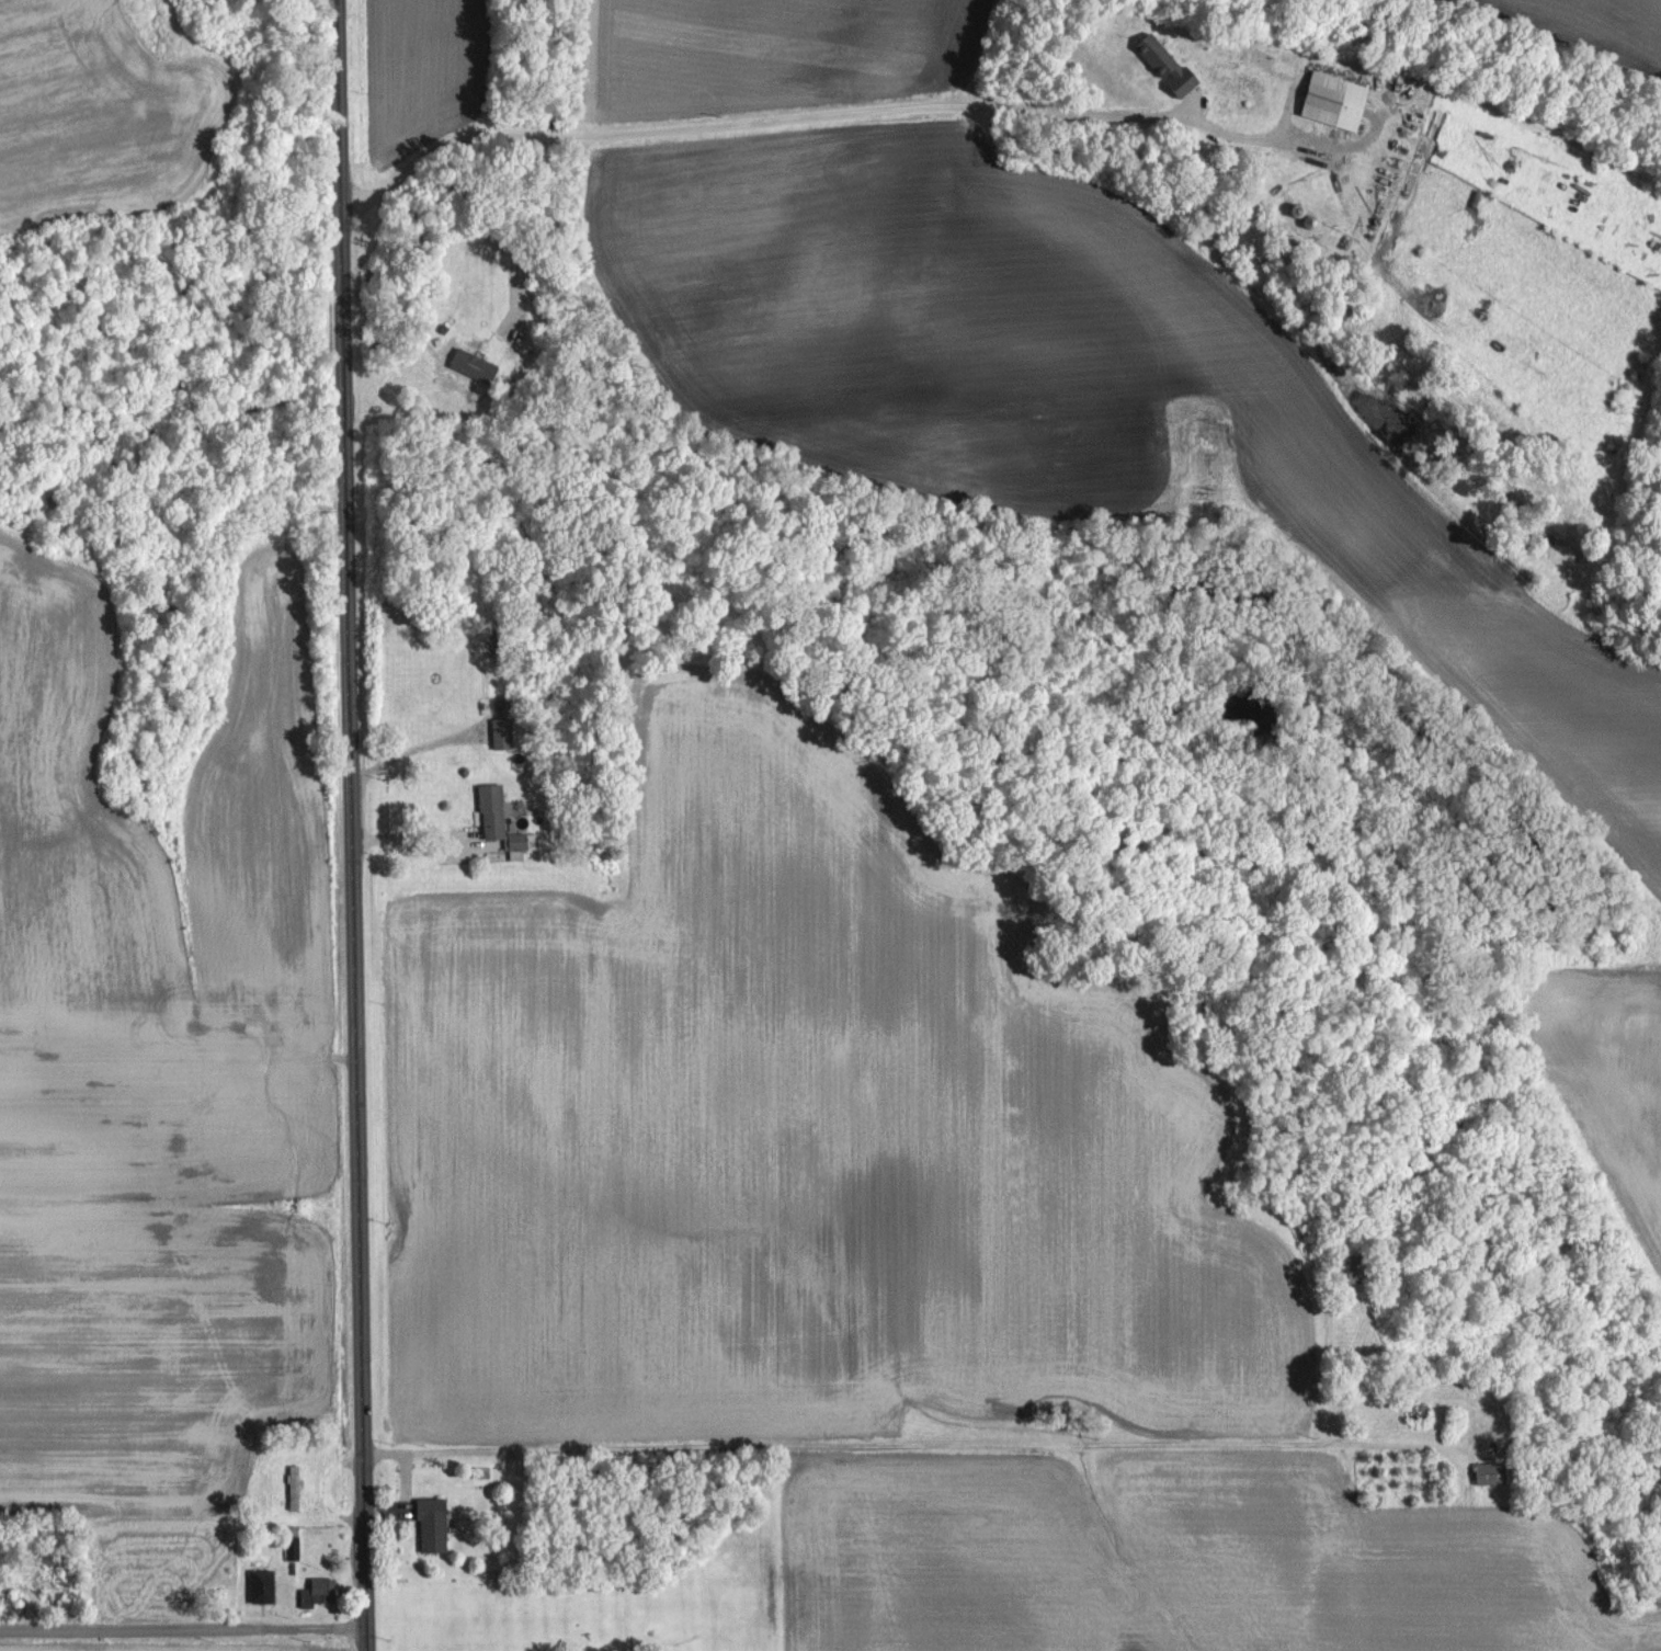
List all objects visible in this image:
road: (743, 126)
road: (1249, 136)
road: (519, 241)
road: (416, 742)
road: (349, 812)
road: (422, 839)
road: (928, 1444)
road: (181, 1630)
road: (363, 1638)

